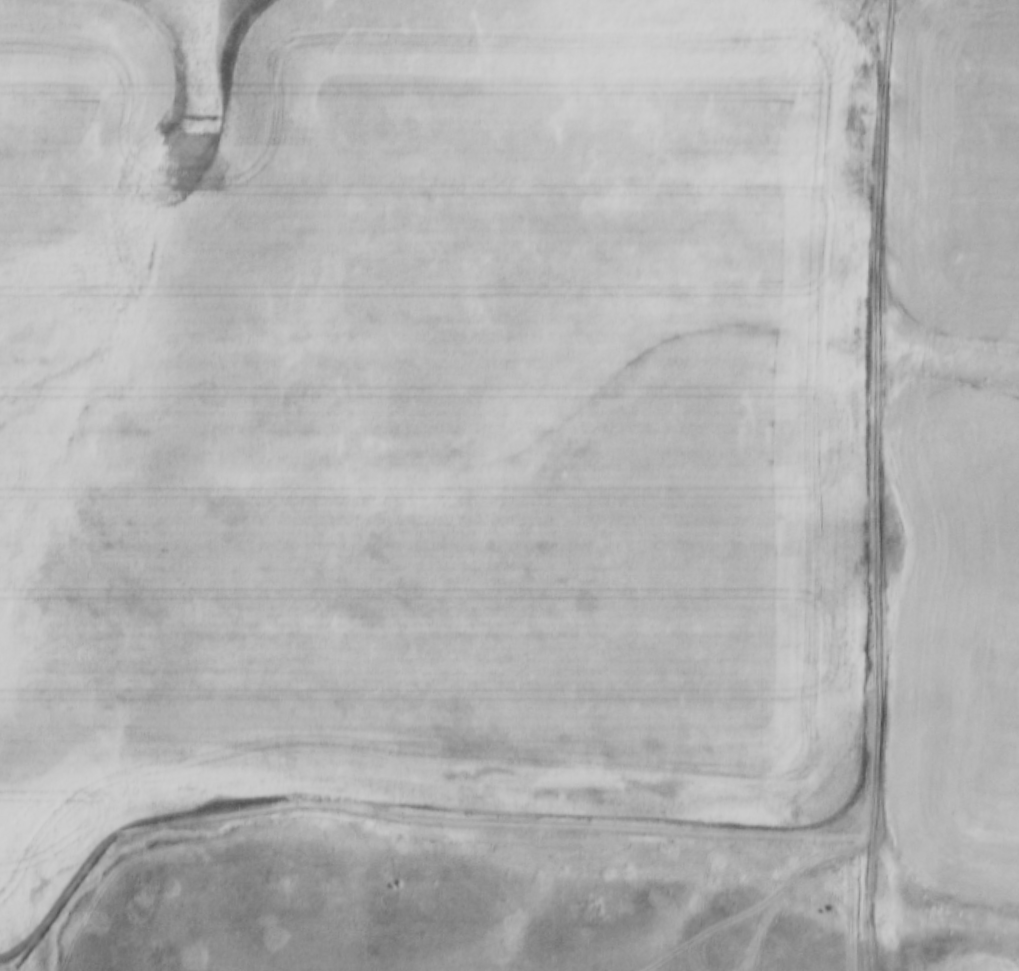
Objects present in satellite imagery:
road: (877, 485)

